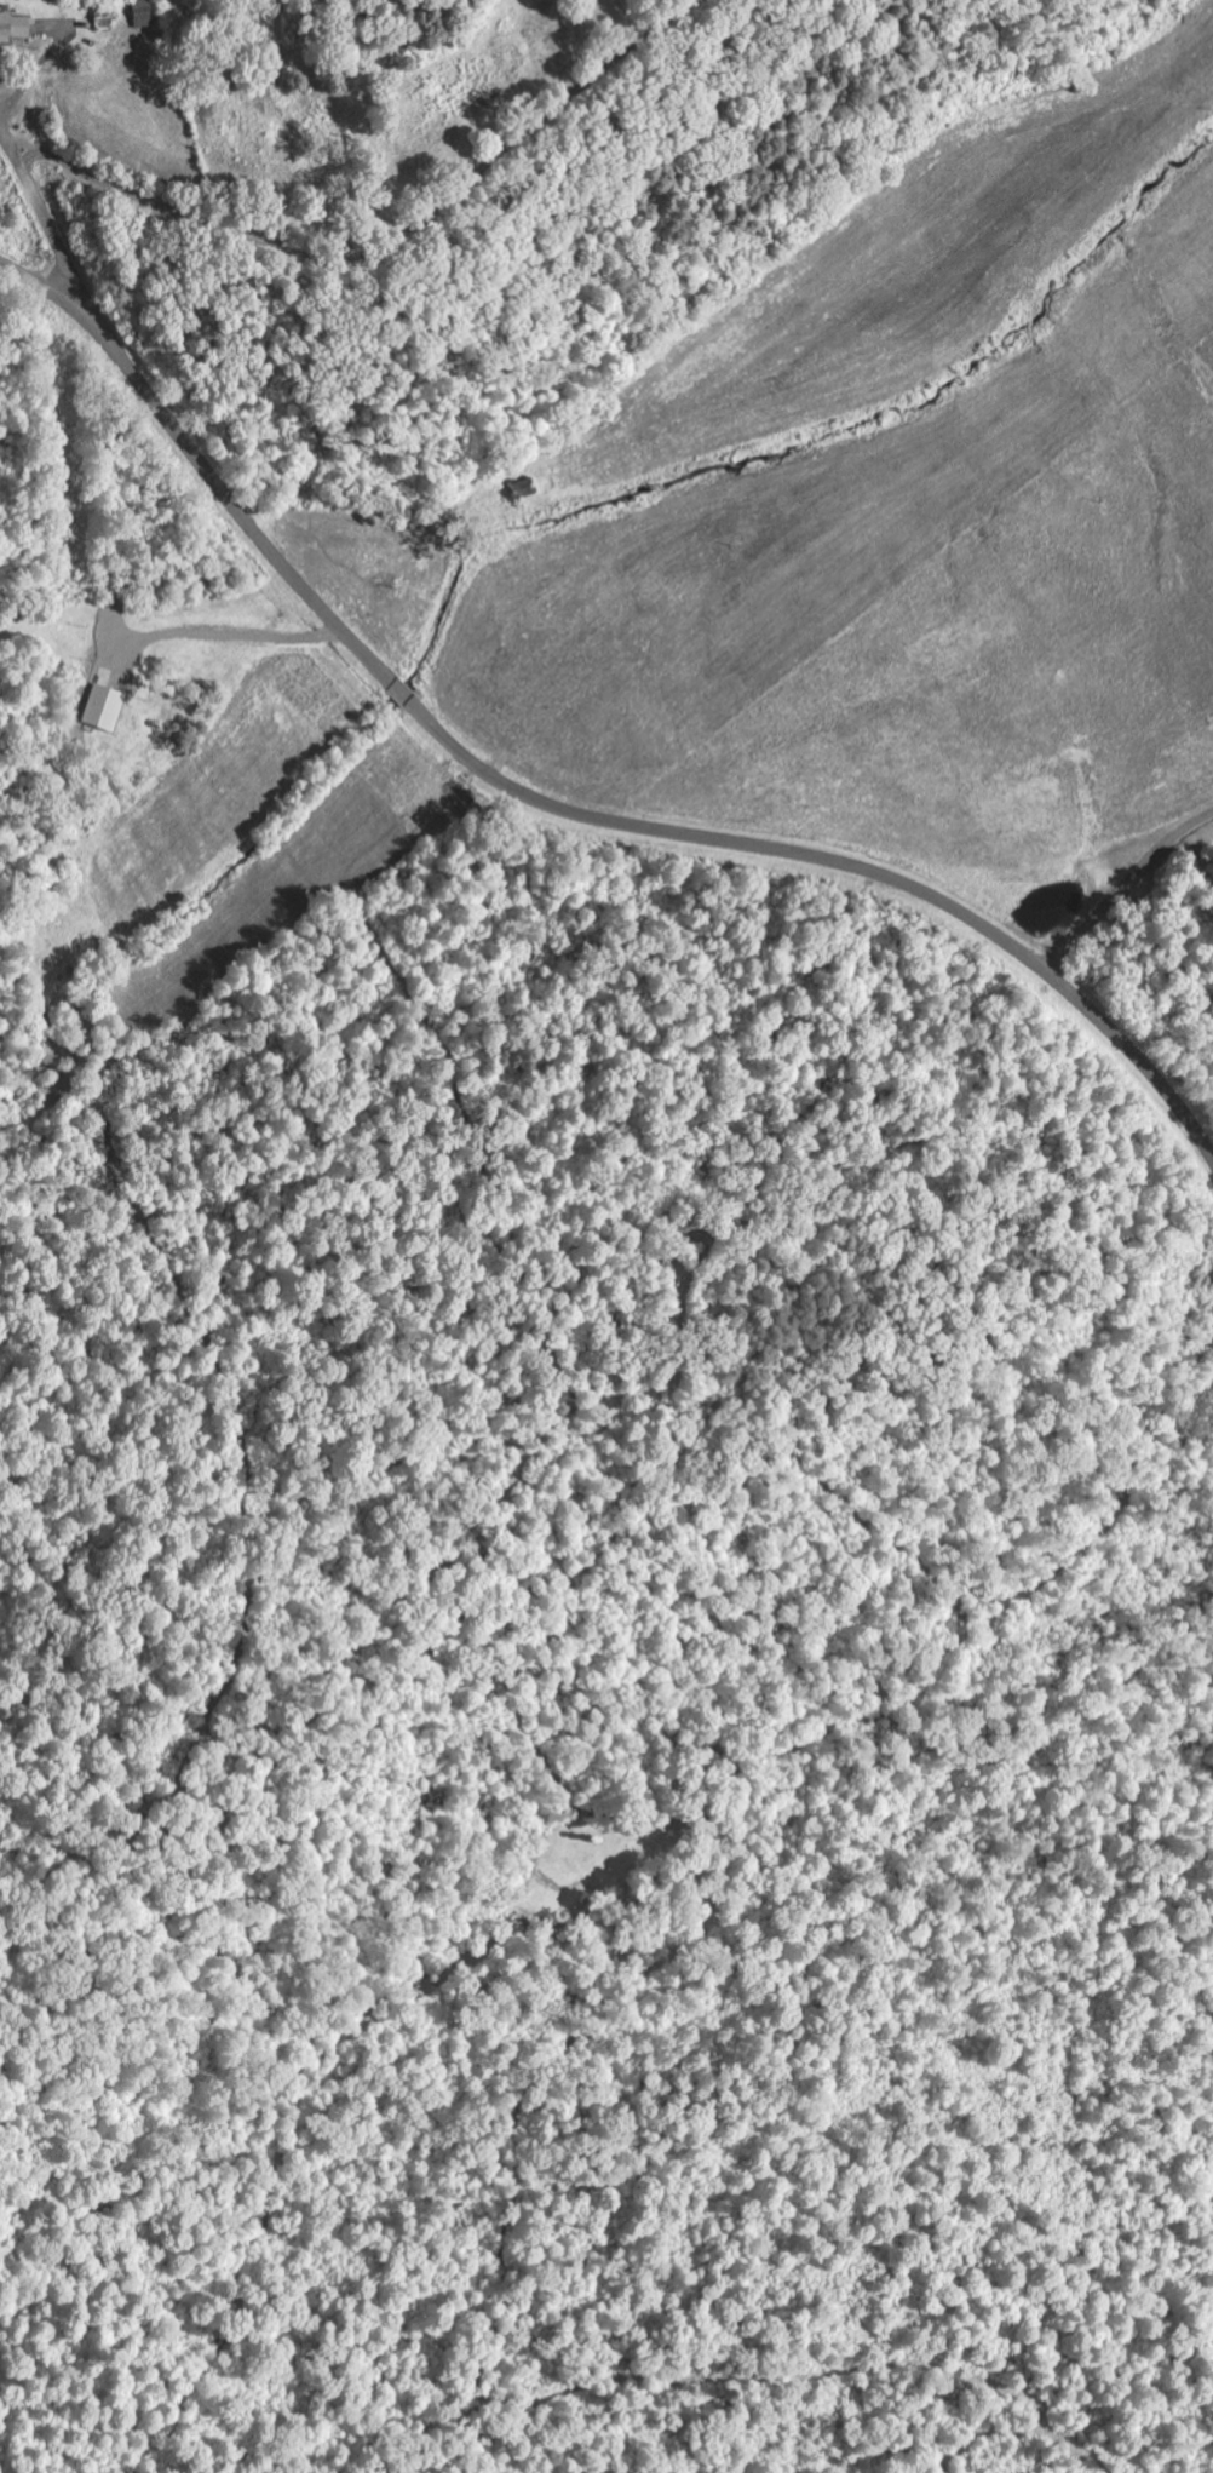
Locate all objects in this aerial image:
road: (385, 245)
road: (59, 248)
road: (63, 305)
building: (104, 708)
road: (627, 826)
road: (1123, 890)

